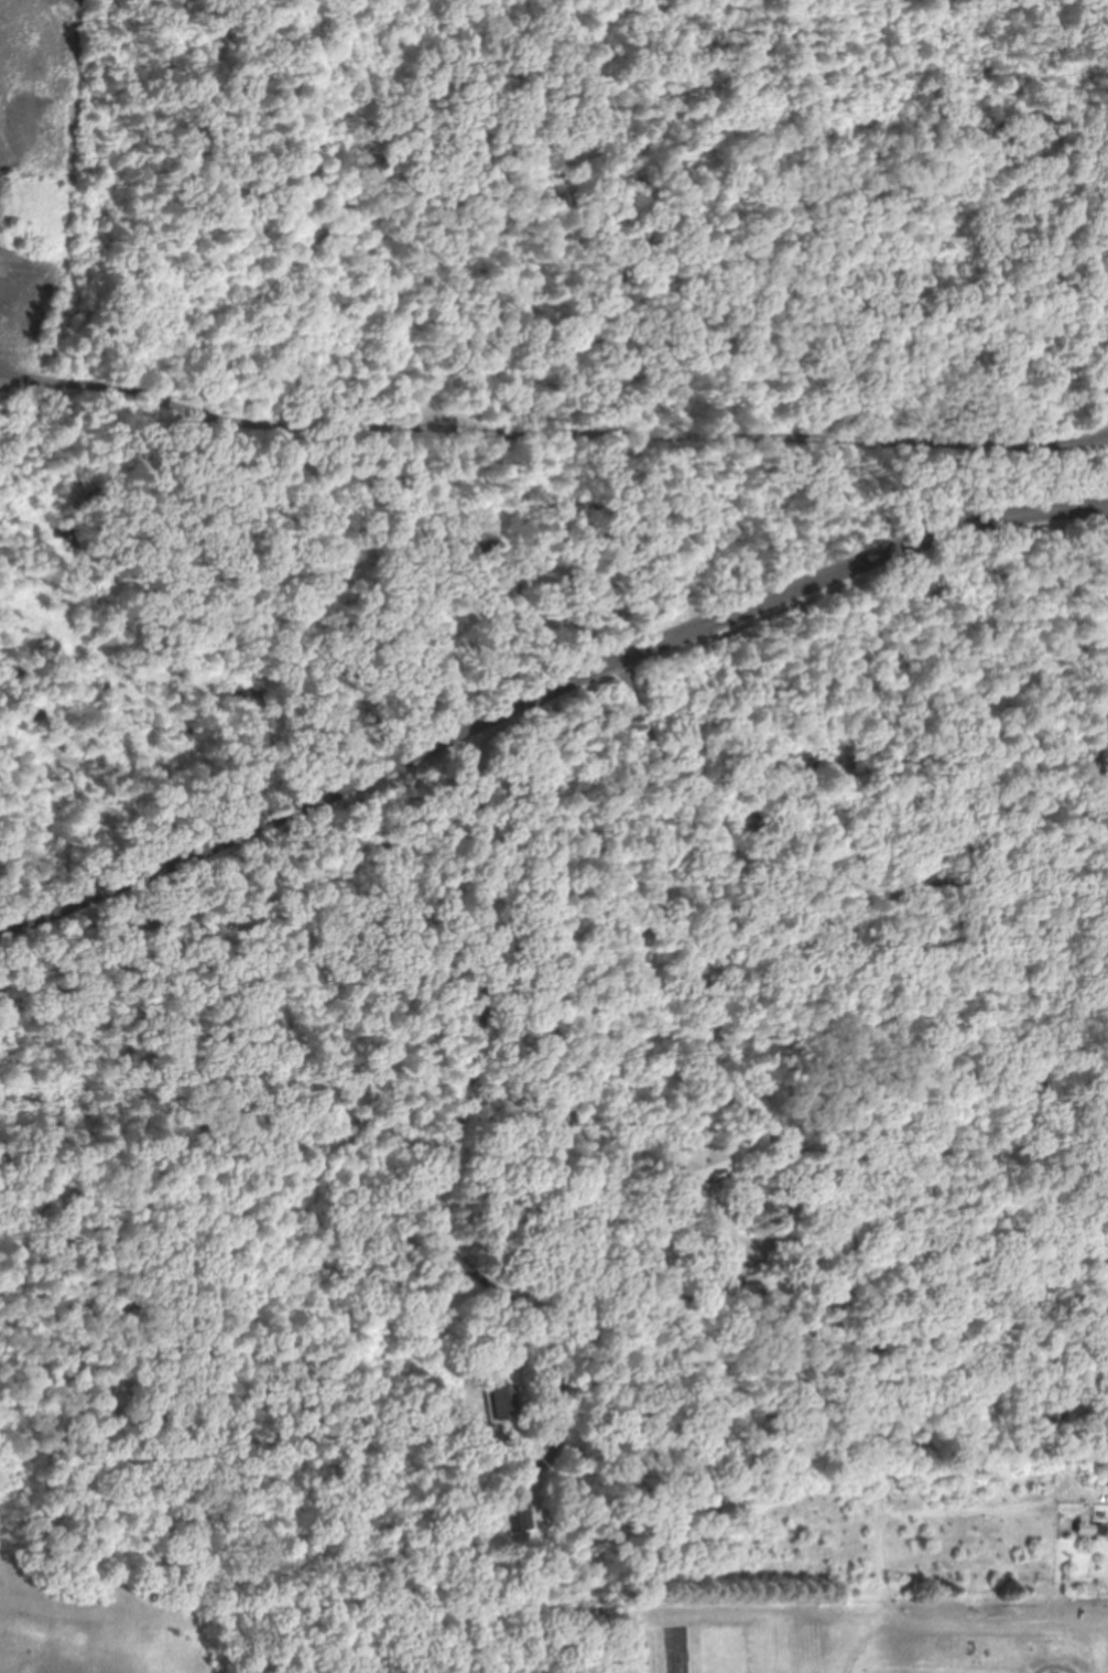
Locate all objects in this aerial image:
park: (617, 215)
road: (475, 548)
road: (550, 700)
road: (577, 1043)
road: (449, 1097)
building: (694, 1167)
building: (723, 1264)
building: (490, 1403)
building: (1102, 1482)
building: (513, 1518)

